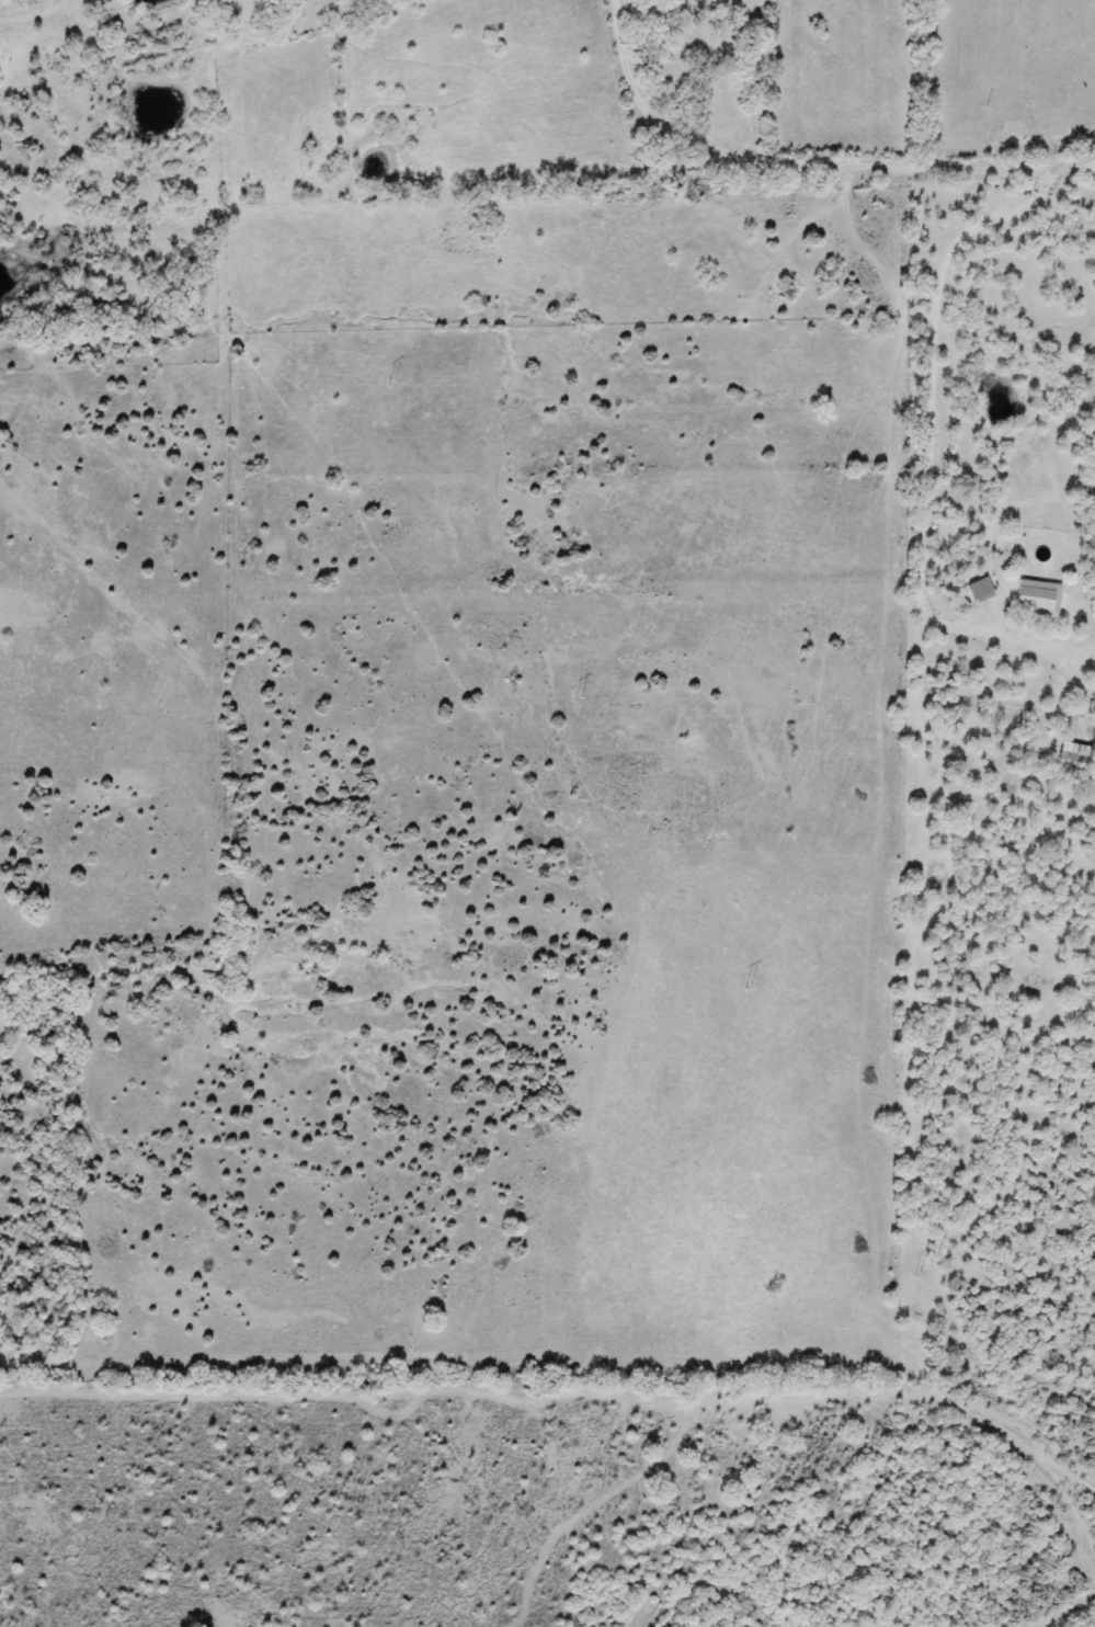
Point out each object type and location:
road: (805, 160)
power tower: (398, 385)
road: (933, 398)
building: (1027, 596)
power tower: (585, 702)
power tower: (754, 986)
power tower: (921, 1273)
power tower: (1065, 1506)

